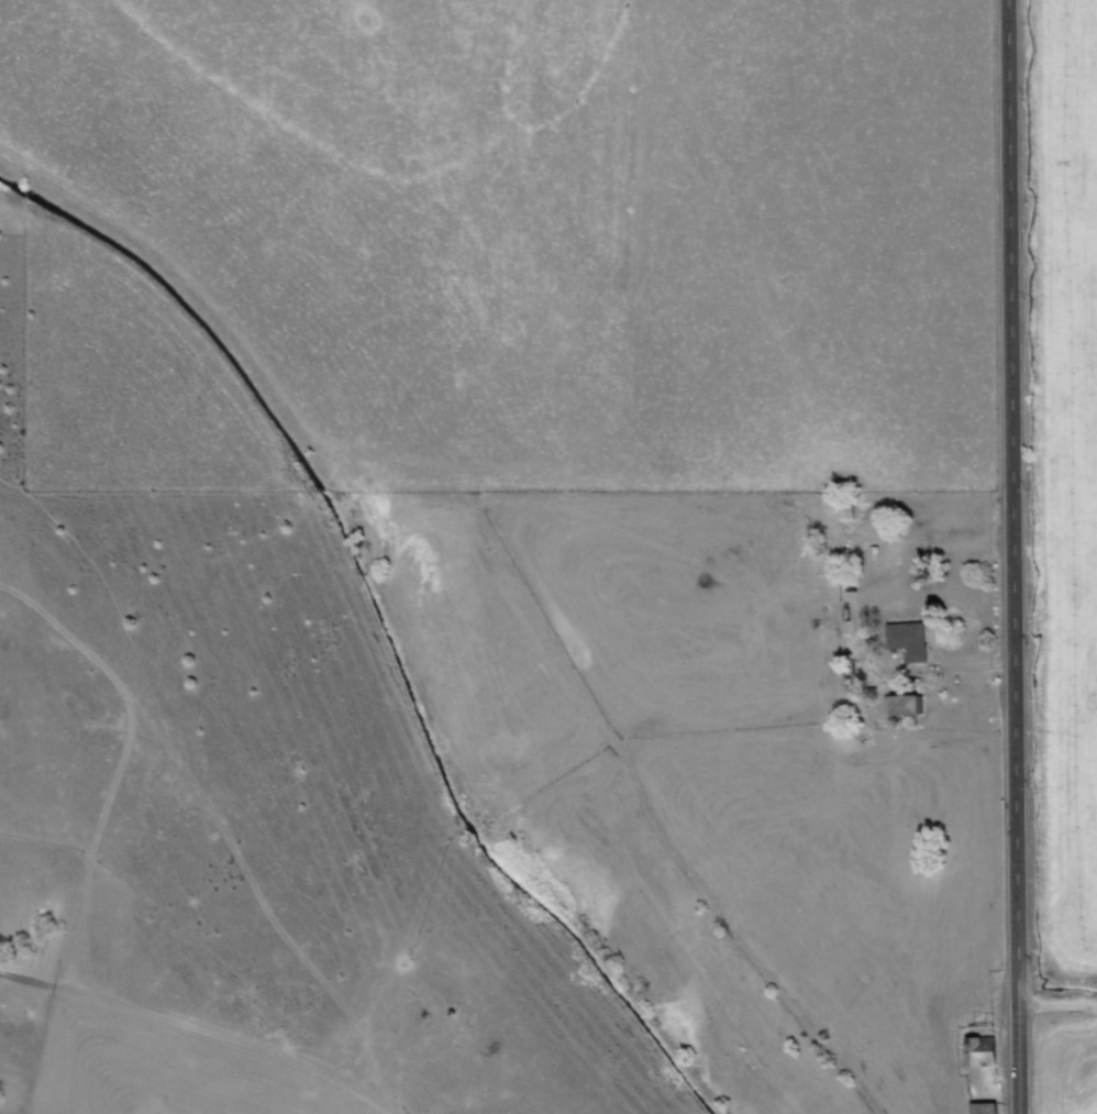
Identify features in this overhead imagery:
road: (1002, 556)
building: (908, 639)
building: (908, 704)
park: (29, 952)
road: (1056, 1007)
road: (220, 1043)
building: (982, 1051)

